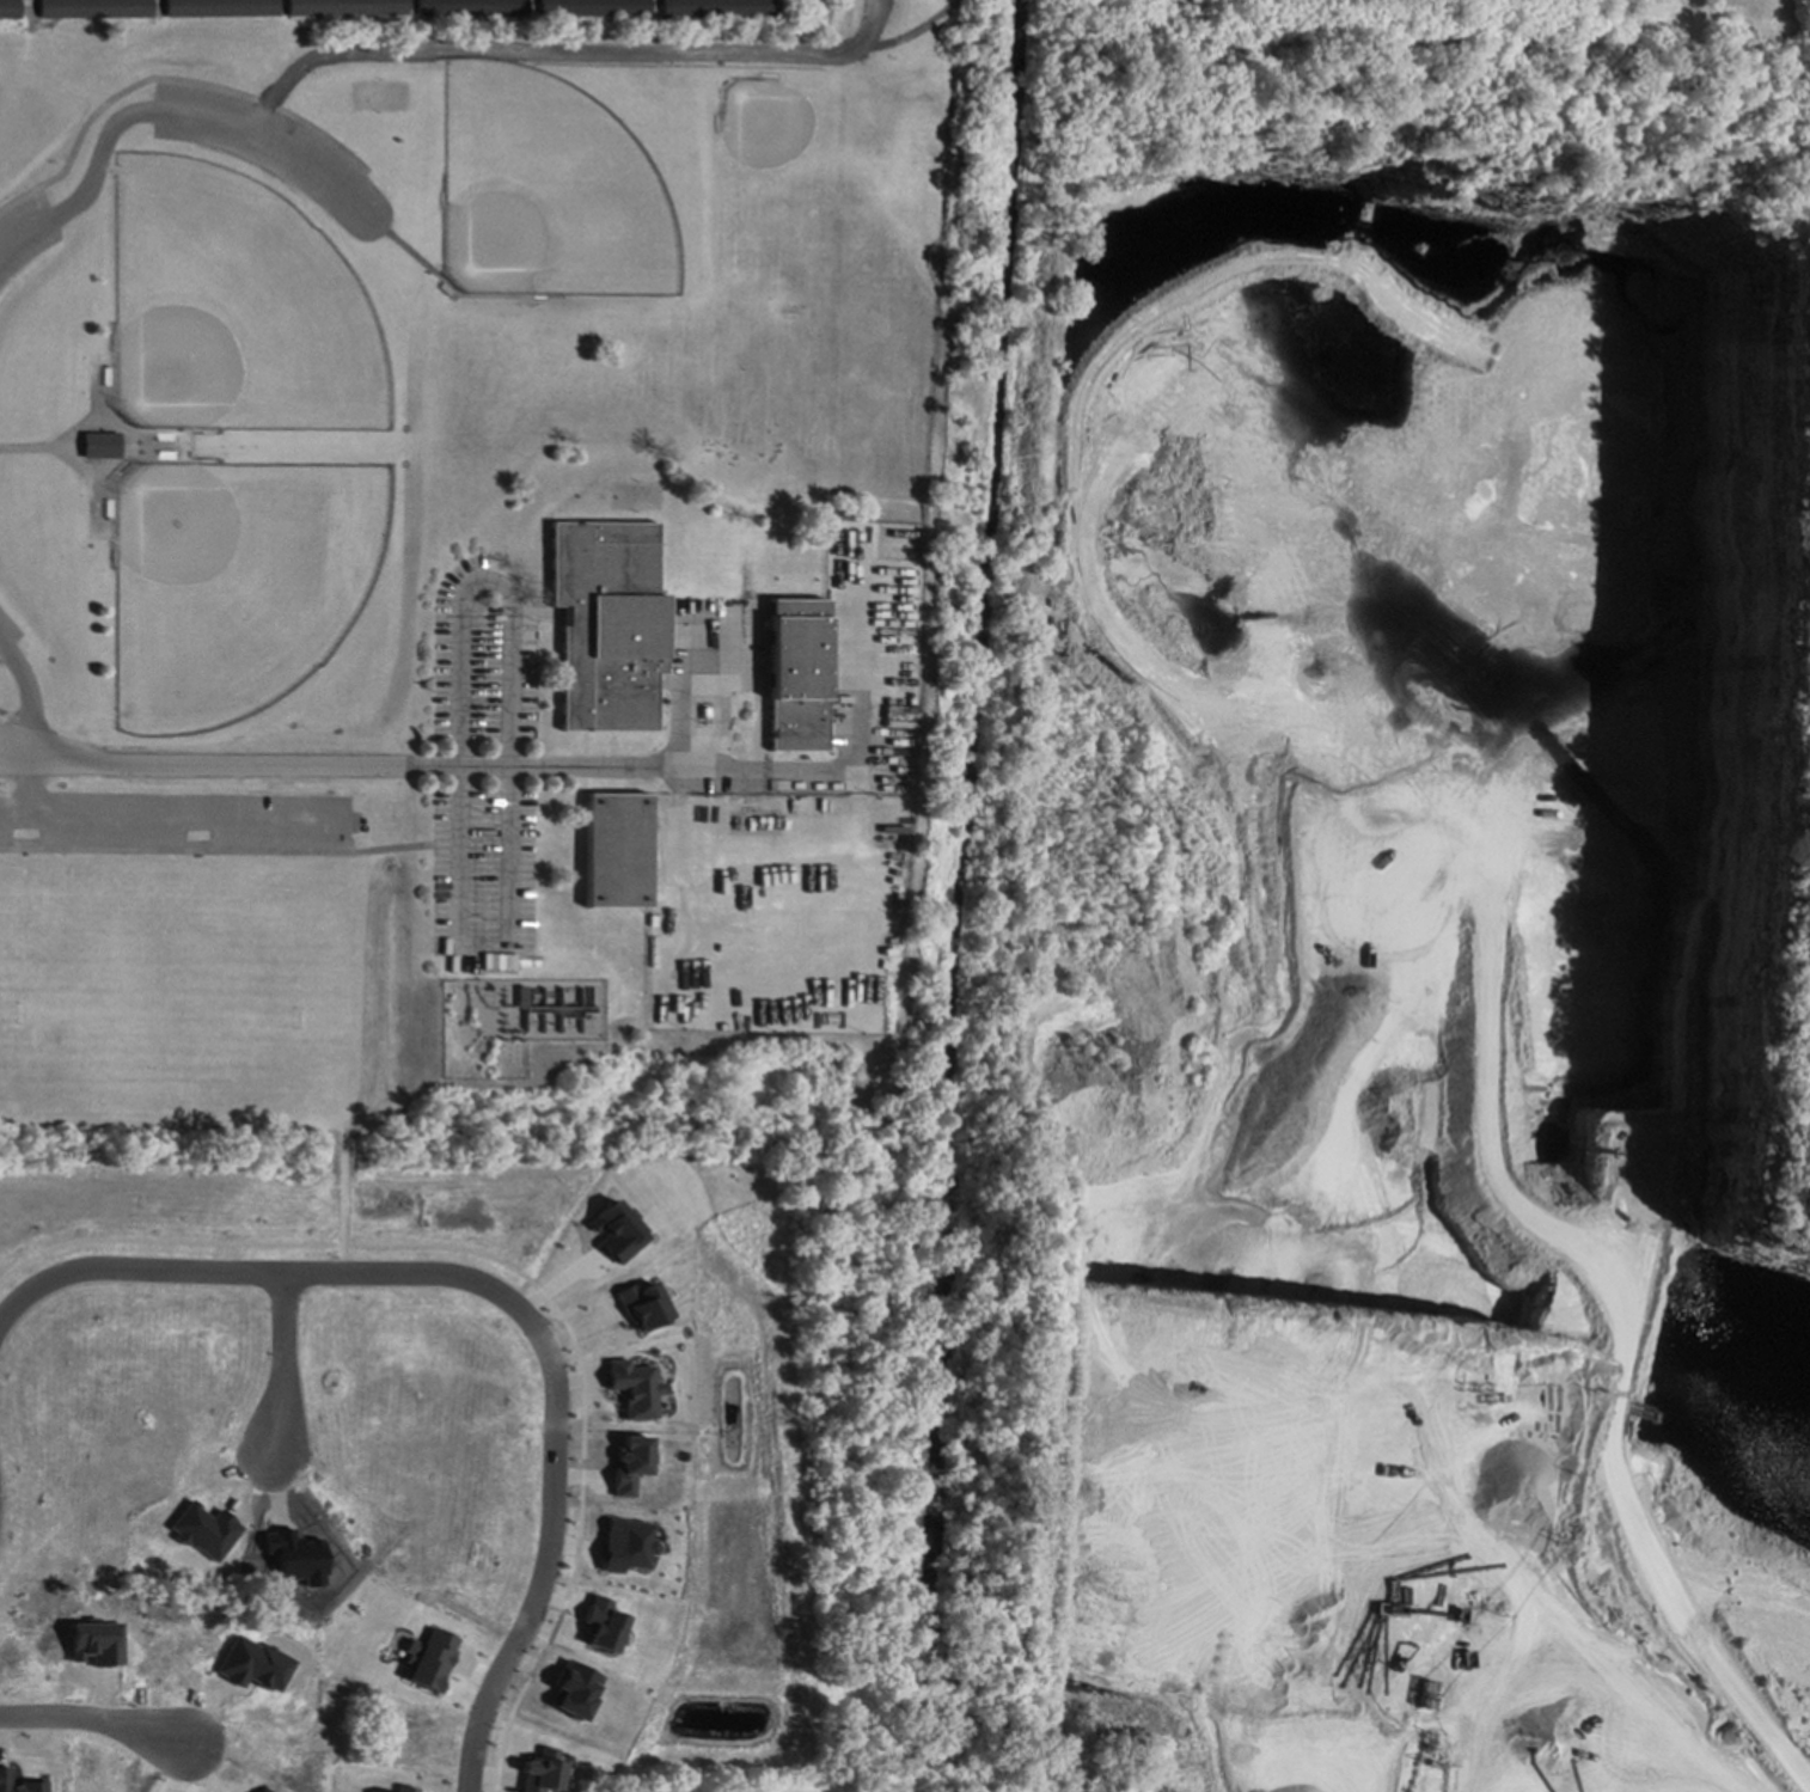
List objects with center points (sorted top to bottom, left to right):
building: (219, 8)
building: (344, 8)
building: (471, 8)
building: (593, 8)
building: (717, 8)
building: (8, 10)
building: (92, 10)
park: (917, 18)
road: (845, 25)
road: (591, 51)
road: (167, 108)
park: (549, 195)
road: (404, 246)
park: (238, 308)
road: (117, 429)
building: (99, 446)
road: (57, 447)
road: (29, 448)
park: (391, 465)
road: (98, 481)
park: (238, 586)
building: (609, 632)
building: (794, 675)
road: (29, 695)
road: (31, 751)
road: (530, 767)
park: (8, 787)
road: (405, 848)
building: (616, 851)
road: (482, 941)
quarry: (1384, 958)
park: (195, 989)
road: (342, 1209)
building: (613, 1233)
road: (526, 1280)
road: (502, 1305)
building: (638, 1307)
road: (274, 1374)
building: (632, 1389)
building: (628, 1466)
building: (623, 1546)
building: (294, 1558)
building: (599, 1626)
building: (428, 1662)
building: (573, 1690)
road: (93, 1726)
building: (539, 1772)
building: (403, 1790)
building: (262, 1791)

